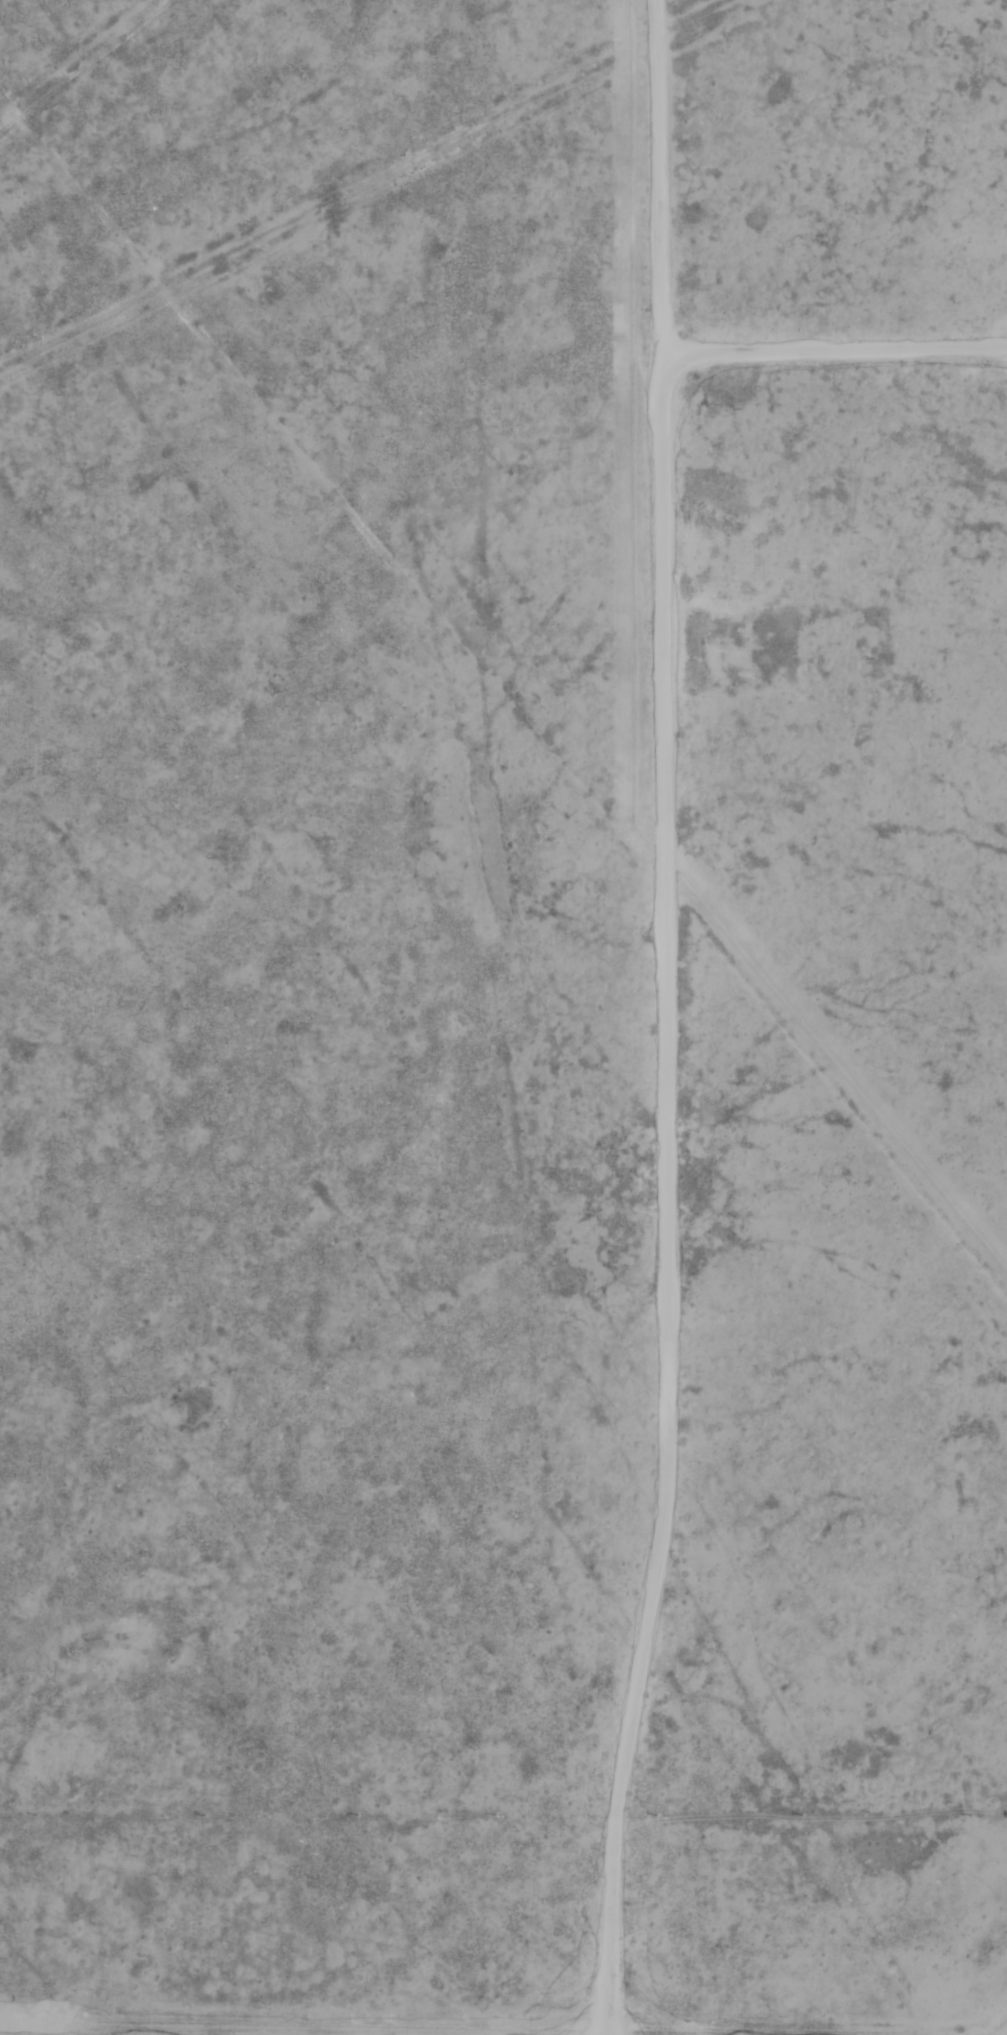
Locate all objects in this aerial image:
road: (659, 181)
road: (675, 1030)

